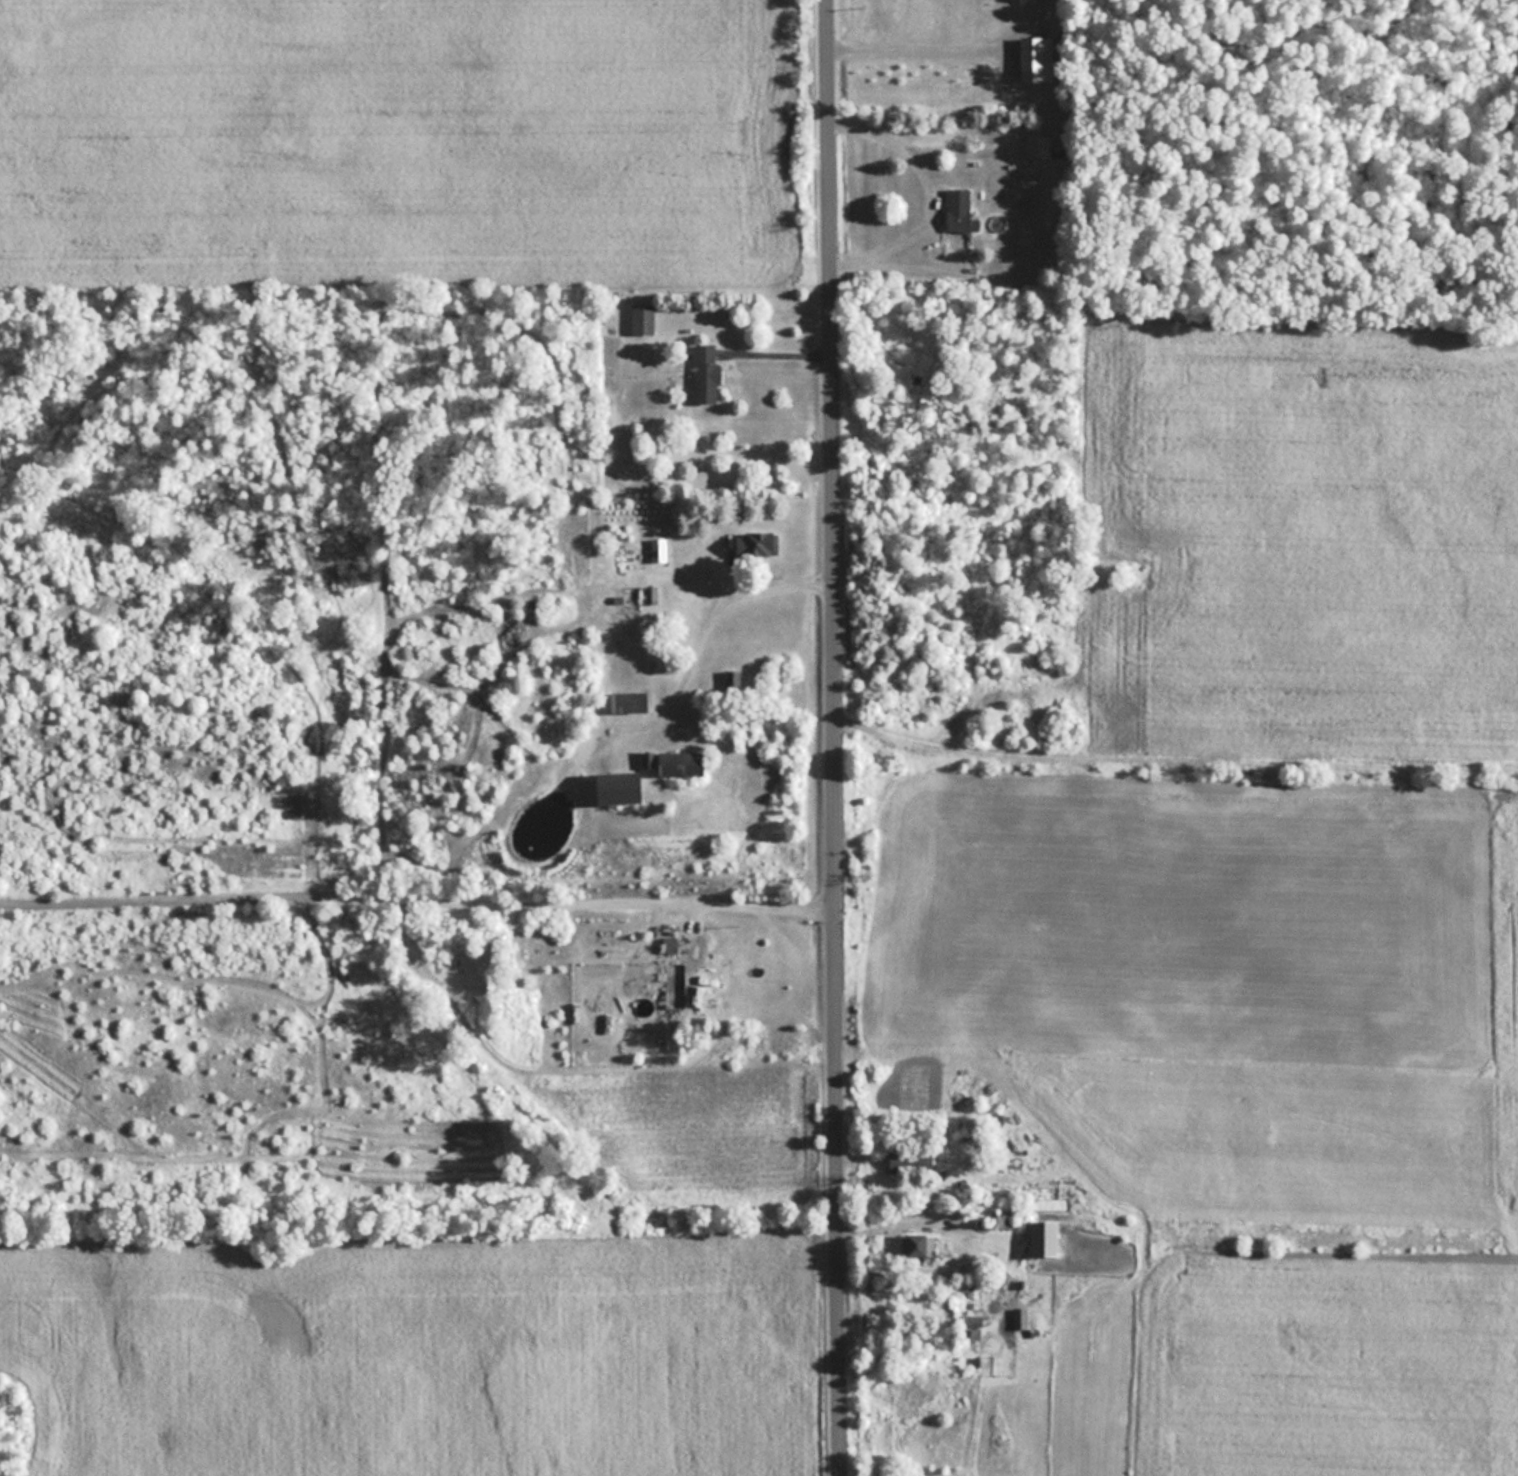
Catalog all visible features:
building: (1036, 59)
building: (1037, 145)
road: (930, 195)
building: (961, 211)
building: (643, 319)
road: (776, 353)
building: (707, 375)
building: (757, 543)
building: (658, 549)
building: (665, 665)
building: (734, 682)
road: (834, 737)
building: (684, 762)
building: (623, 786)
road: (418, 887)
building: (676, 983)
building: (912, 1160)
building: (1002, 1217)
building: (1046, 1236)
building: (921, 1244)
building: (971, 1319)
building: (1020, 1320)

